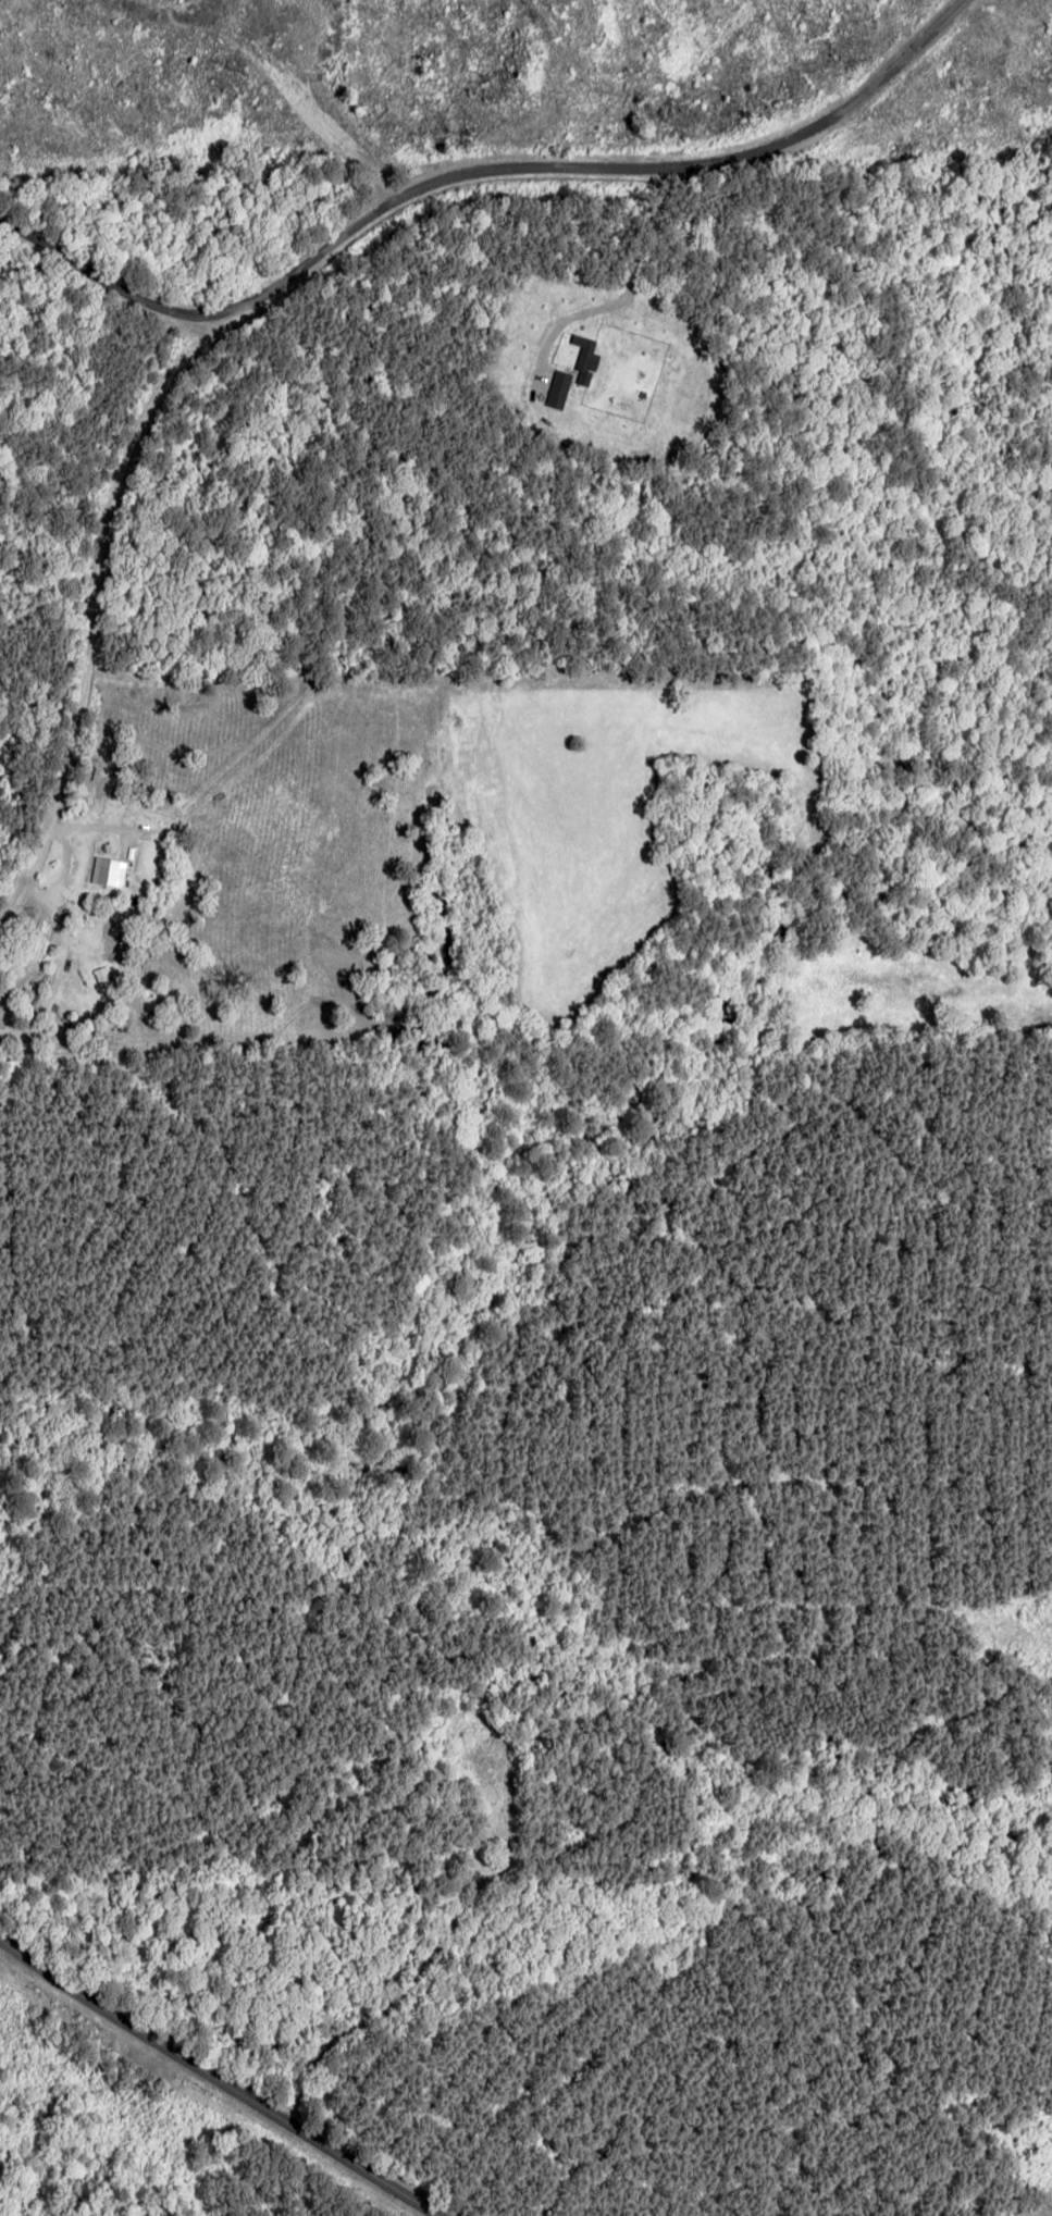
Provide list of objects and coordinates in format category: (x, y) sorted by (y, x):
road: (587, 172)
road: (75, 306)
building: (585, 358)
building: (558, 388)
road: (112, 682)
building: (108, 870)
road: (240, 2076)

